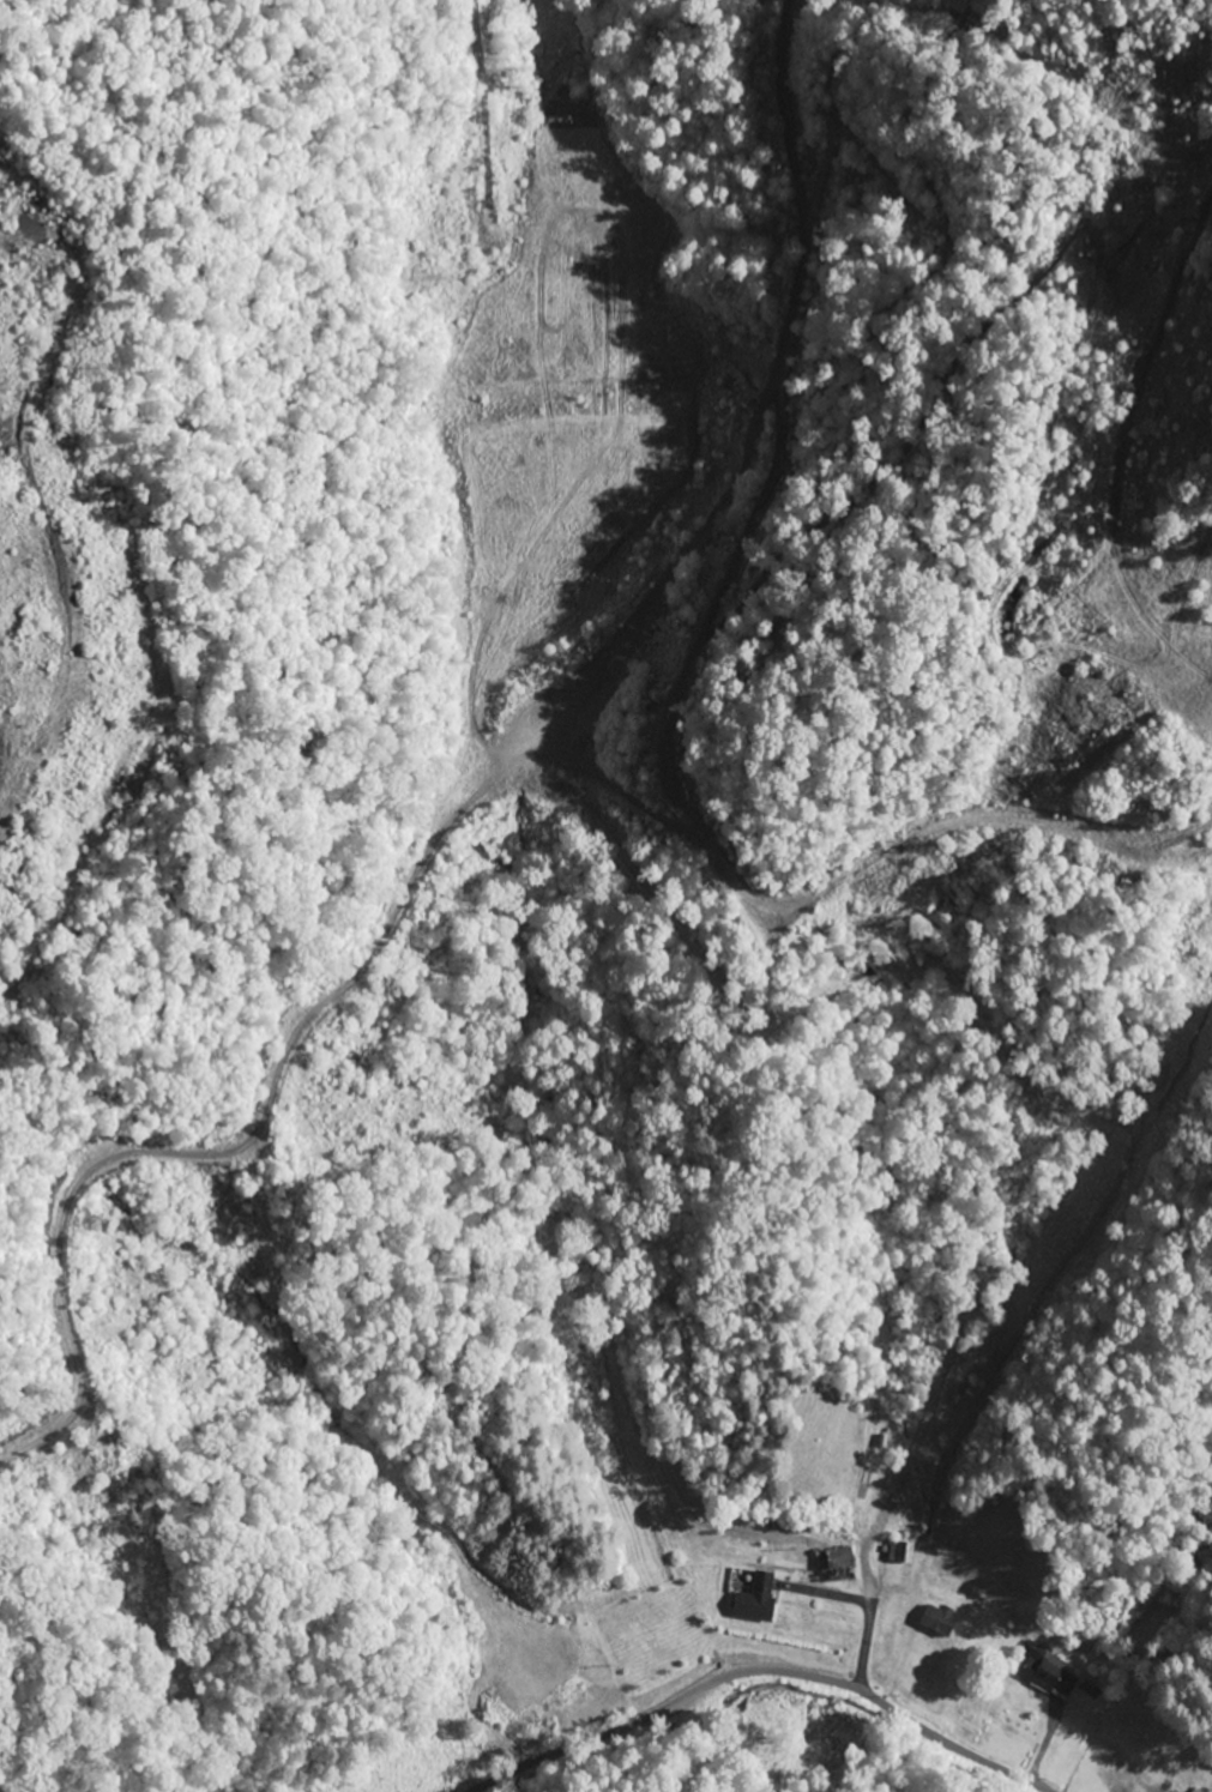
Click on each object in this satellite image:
building: (900, 1549)
building: (836, 1562)
building: (756, 1599)
building: (937, 1619)
road: (762, 1670)
building: (1049, 1677)

